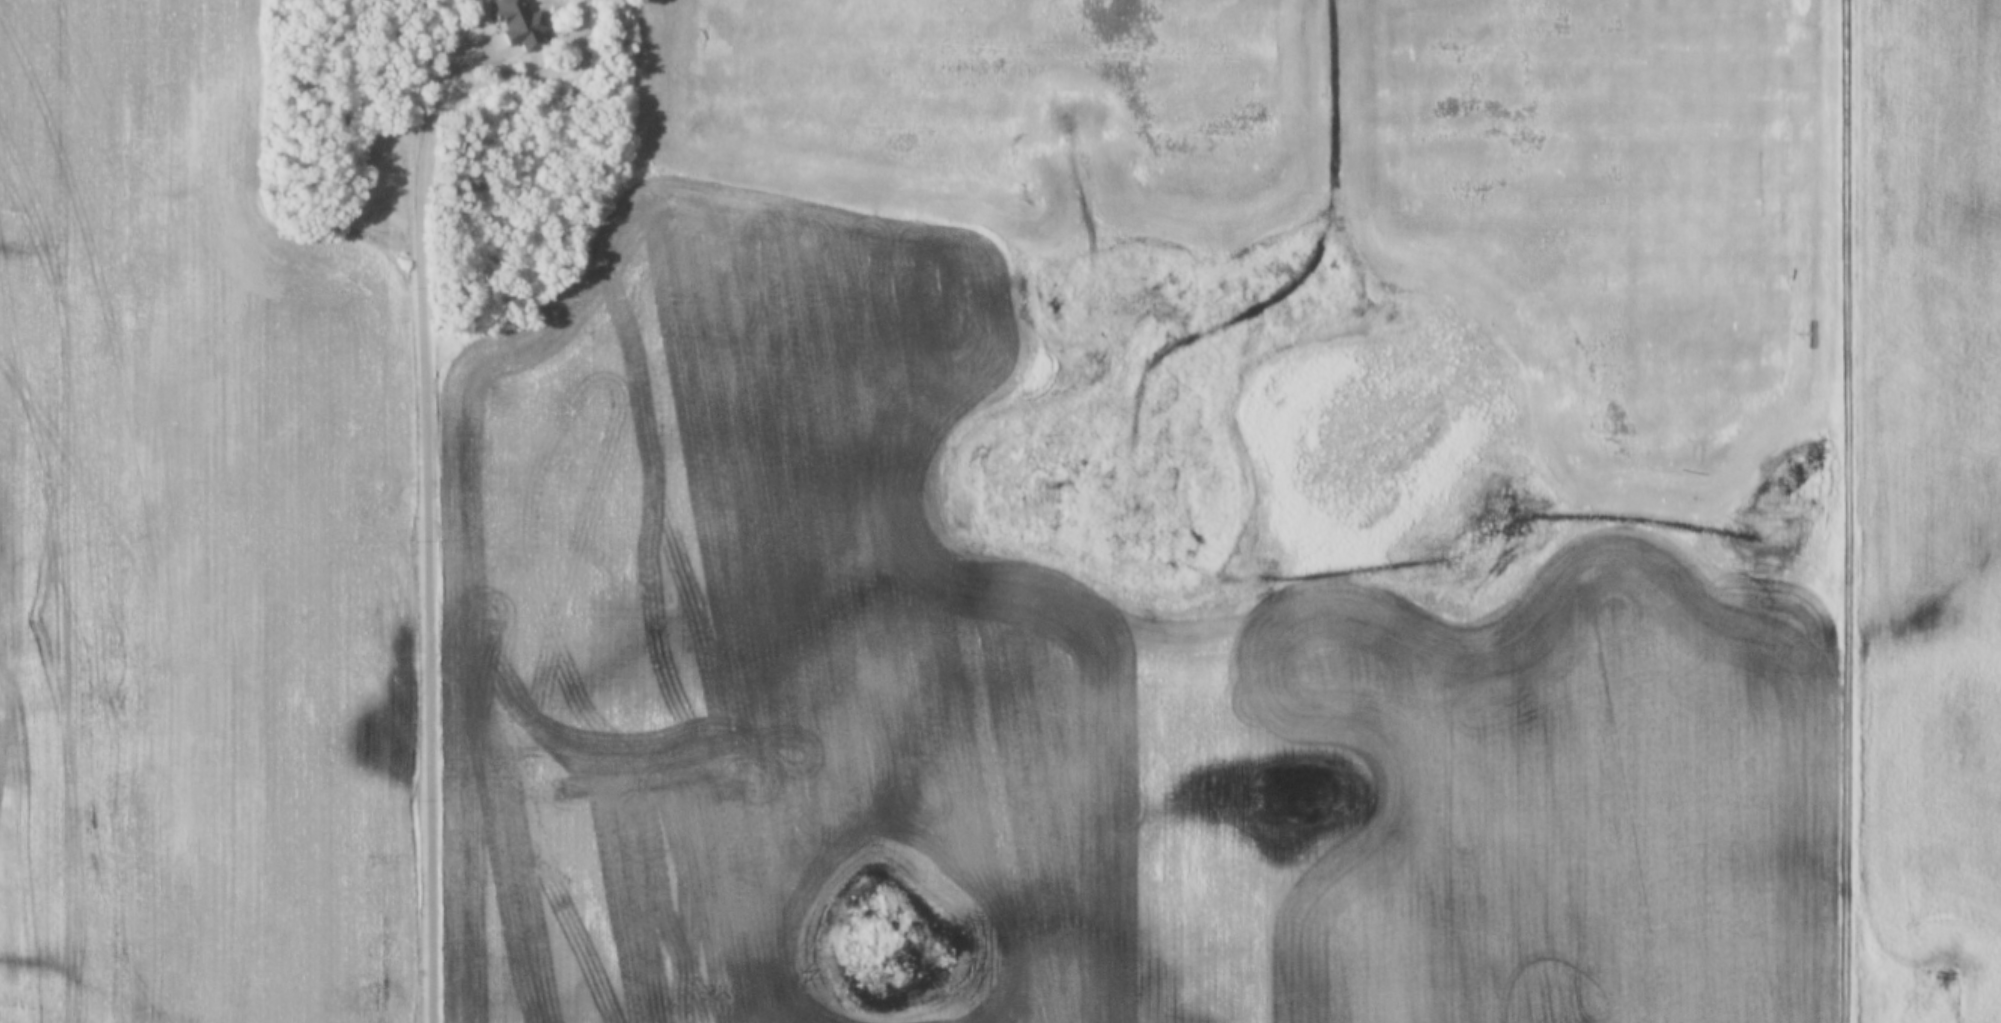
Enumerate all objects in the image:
building: (531, 3)
building: (497, 42)
road: (231, 227)
road: (429, 504)
road: (1848, 511)

